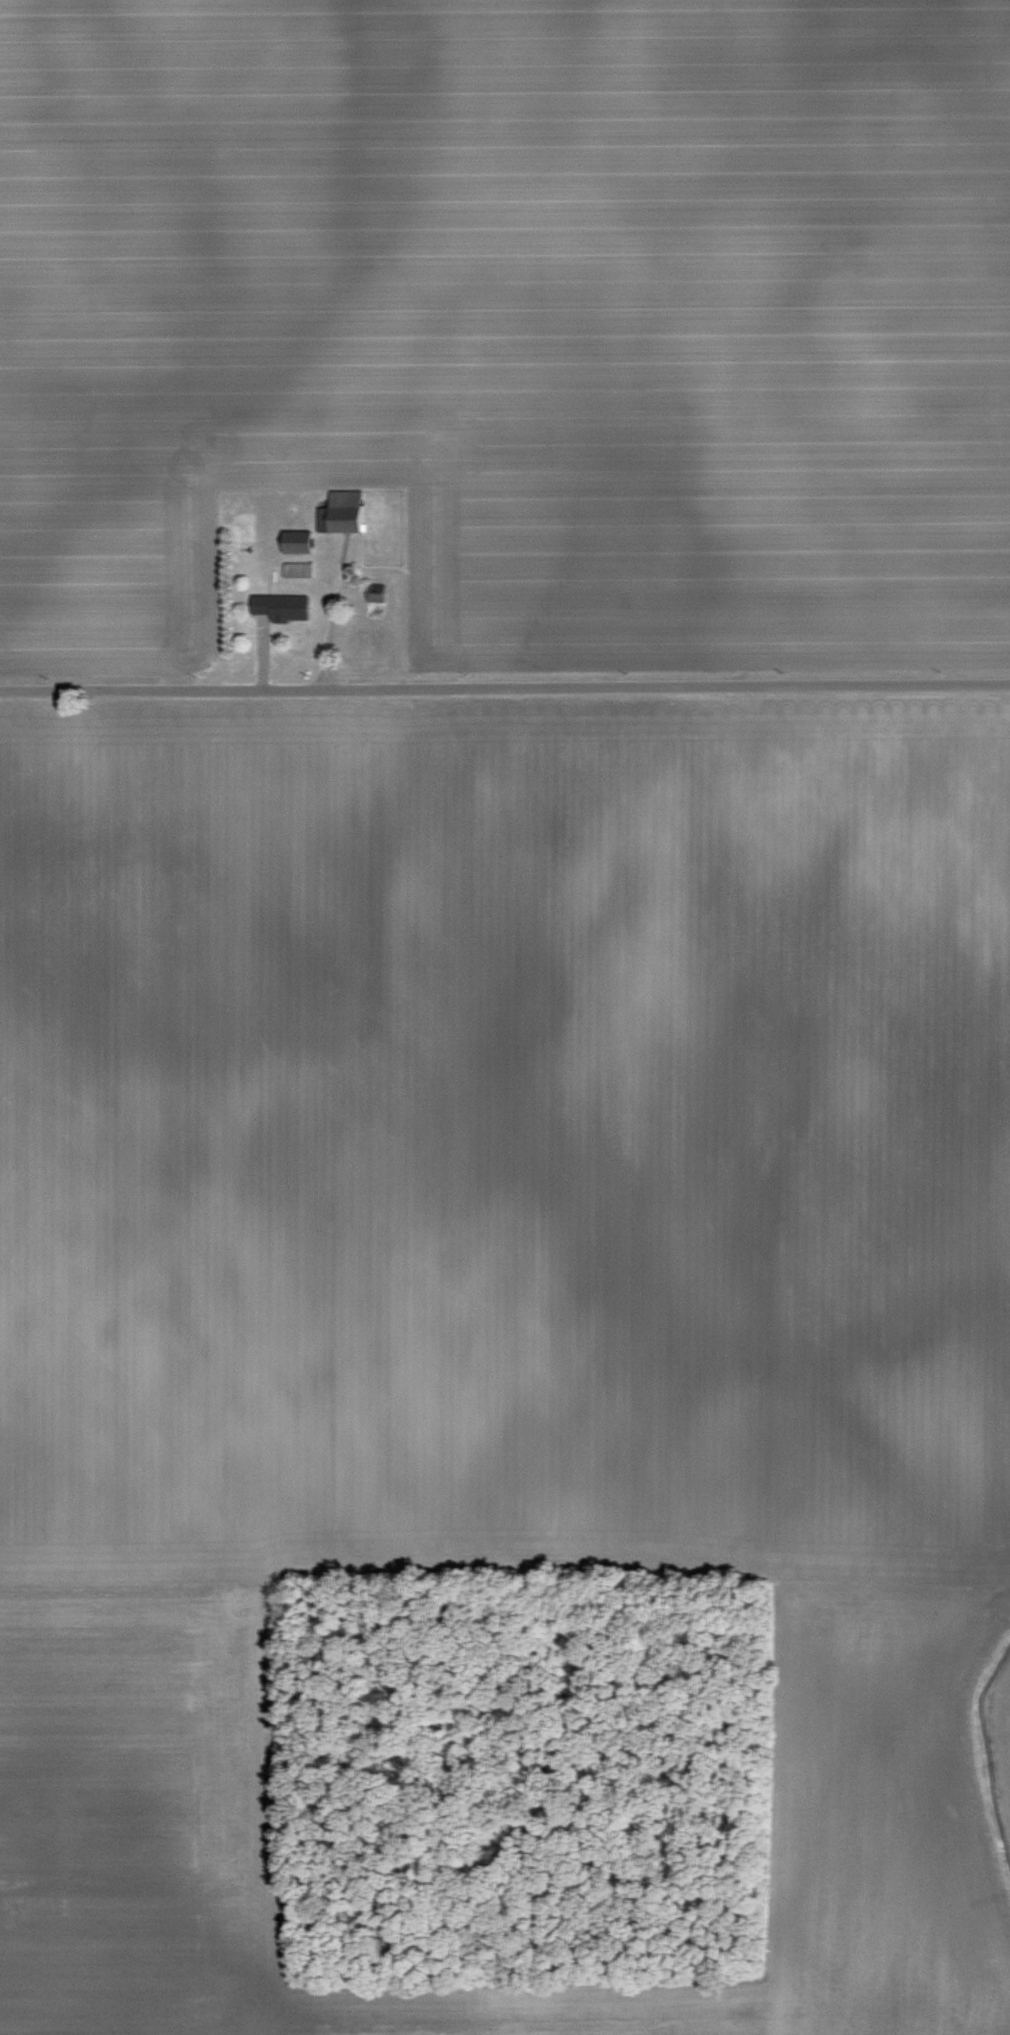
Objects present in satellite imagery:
road: (505, 684)

